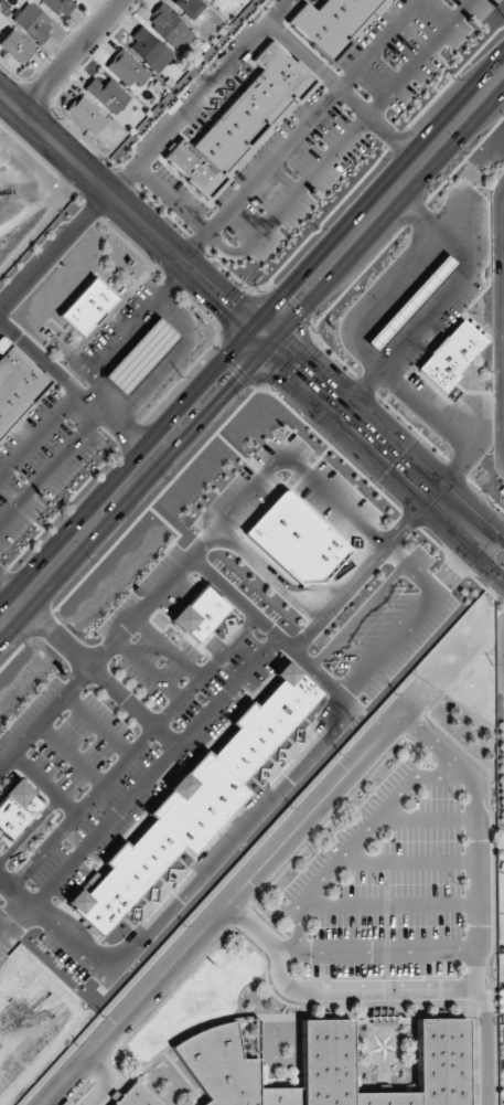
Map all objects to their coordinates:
building: (60, 7)
building: (190, 7)
building: (33, 22)
building: (332, 22)
building: (171, 29)
building: (15, 47)
building: (150, 50)
road: (72, 57)
building: (127, 68)
power tower: (453, 77)
road: (342, 93)
building: (108, 95)
road: (196, 96)
building: (87, 115)
road: (313, 117)
building: (242, 120)
road: (356, 125)
road: (170, 200)
road: (382, 204)
power tower: (315, 226)
road: (193, 247)
road: (222, 247)
road: (52, 253)
road: (187, 268)
building: (87, 307)
road: (125, 332)
traffic signals: (259, 334)
building: (451, 355)
building: (140, 357)
gas station: (140, 357)
road: (165, 362)
power tower: (179, 376)
building: (17, 386)
road: (74, 392)
road: (37, 435)
road: (49, 467)
road: (130, 479)
road: (440, 487)
road: (439, 511)
power tower: (45, 523)
building: (297, 540)
road: (11, 589)
building: (201, 614)
road: (503, 669)
building: (196, 803)
building: (17, 809)
road: (427, 819)
road: (357, 839)
road: (407, 861)
road: (233, 899)
road: (387, 904)
road: (4, 923)
road: (374, 950)
road: (474, 984)
road: (483, 1002)
road: (489, 1061)
building: (328, 1066)
road: (109, 1080)
building: (137, 1096)

